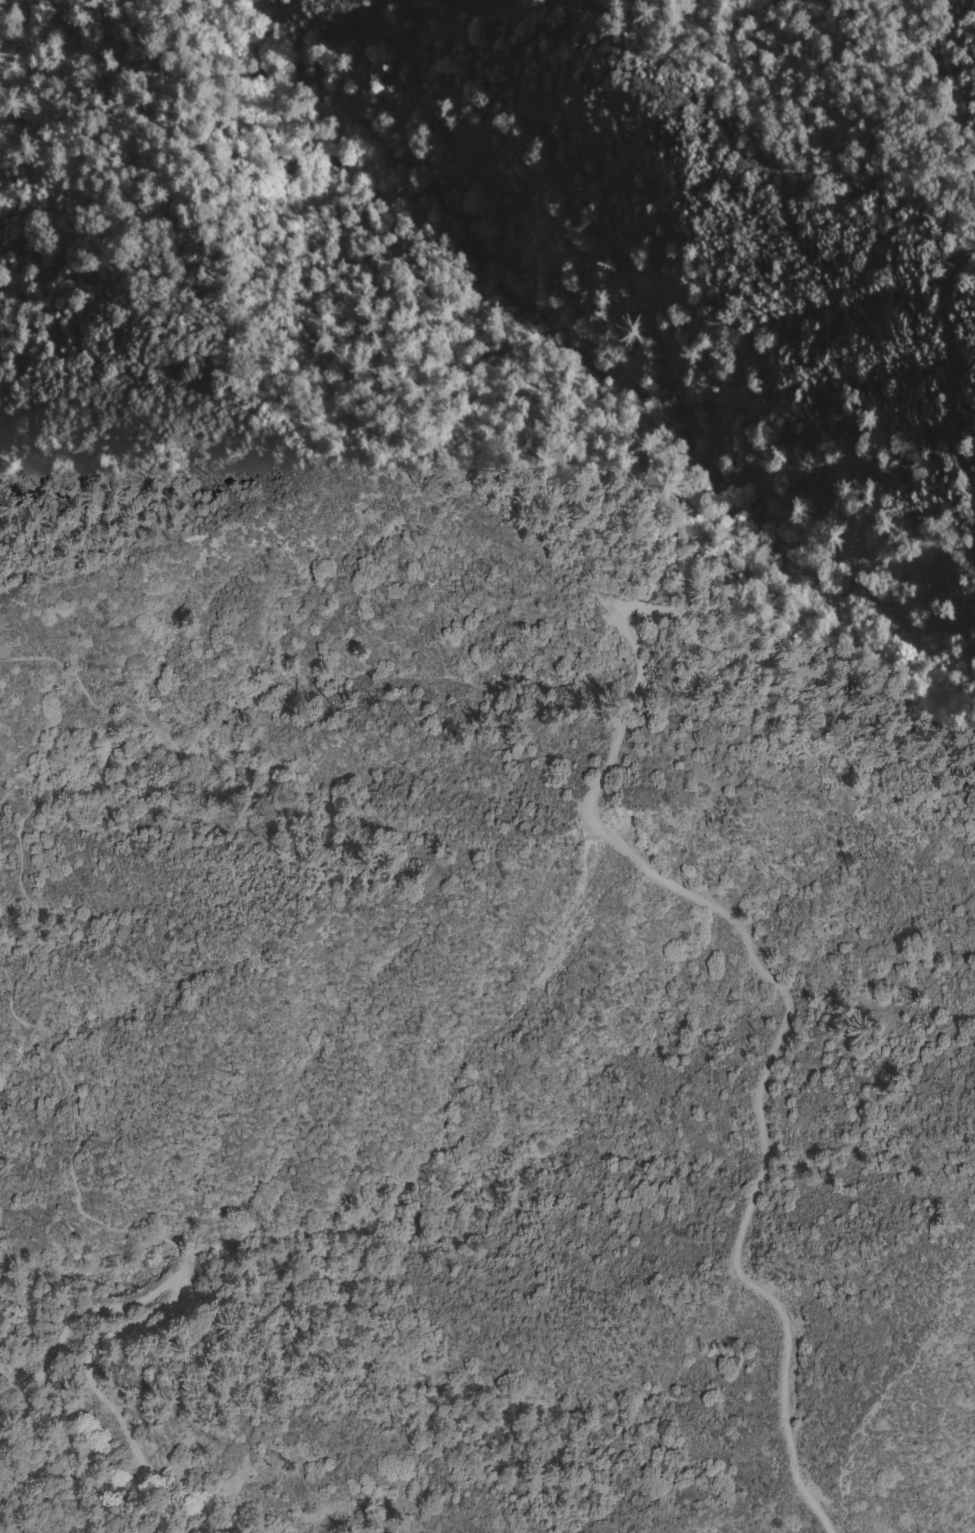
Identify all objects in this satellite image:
road: (210, 64)
road: (955, 369)
road: (679, 885)
road: (35, 907)
road: (112, 1355)

